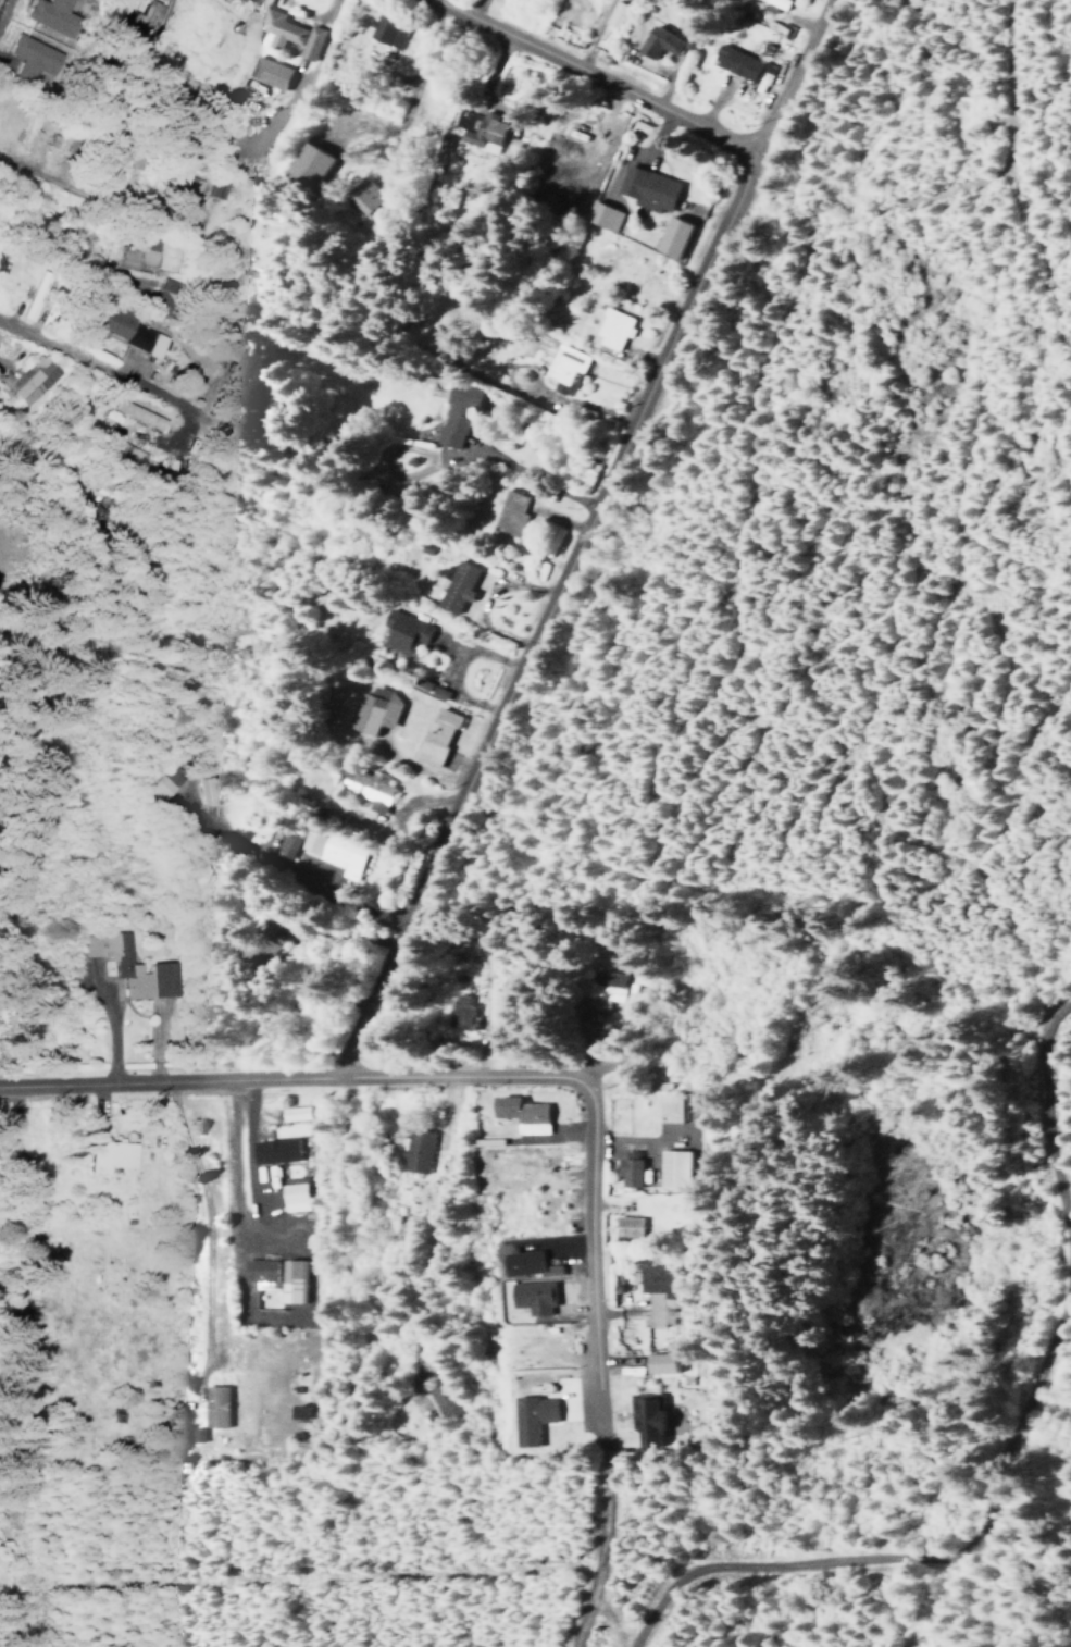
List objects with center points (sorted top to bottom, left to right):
building: (248, 1)
building: (776, 2)
road: (471, 5)
building: (614, 12)
building: (138, 18)
building: (385, 29)
building: (288, 33)
building: (657, 41)
building: (733, 62)
building: (265, 71)
road: (591, 71)
building: (25, 133)
building: (303, 165)
road: (27, 172)
building: (177, 185)
building: (214, 188)
building: (646, 188)
building: (360, 195)
building: (599, 215)
building: (670, 236)
building: (133, 252)
building: (122, 326)
building: (611, 329)
road: (75, 354)
building: (563, 368)
building: (28, 377)
building: (456, 411)
building: (134, 413)
building: (124, 455)
building: (508, 512)
road: (578, 532)
building: (453, 585)
building: (401, 630)
building: (373, 710)
building: (435, 736)
building: (160, 781)
building: (364, 785)
building: (207, 790)
building: (285, 845)
building: (334, 851)
building: (129, 966)
building: (597, 993)
building: (459, 1011)
road: (289, 1073)
building: (294, 1113)
building: (520, 1114)
building: (272, 1150)
building: (413, 1150)
building: (105, 1154)
road: (229, 1164)
building: (671, 1168)
building: (626, 1172)
building: (292, 1196)
road: (202, 1217)
road: (590, 1251)
building: (257, 1270)
building: (289, 1280)
building: (657, 1291)
building: (658, 1363)
building: (440, 1400)
building: (212, 1407)
building: (645, 1415)
building: (530, 1417)
road: (601, 1539)

